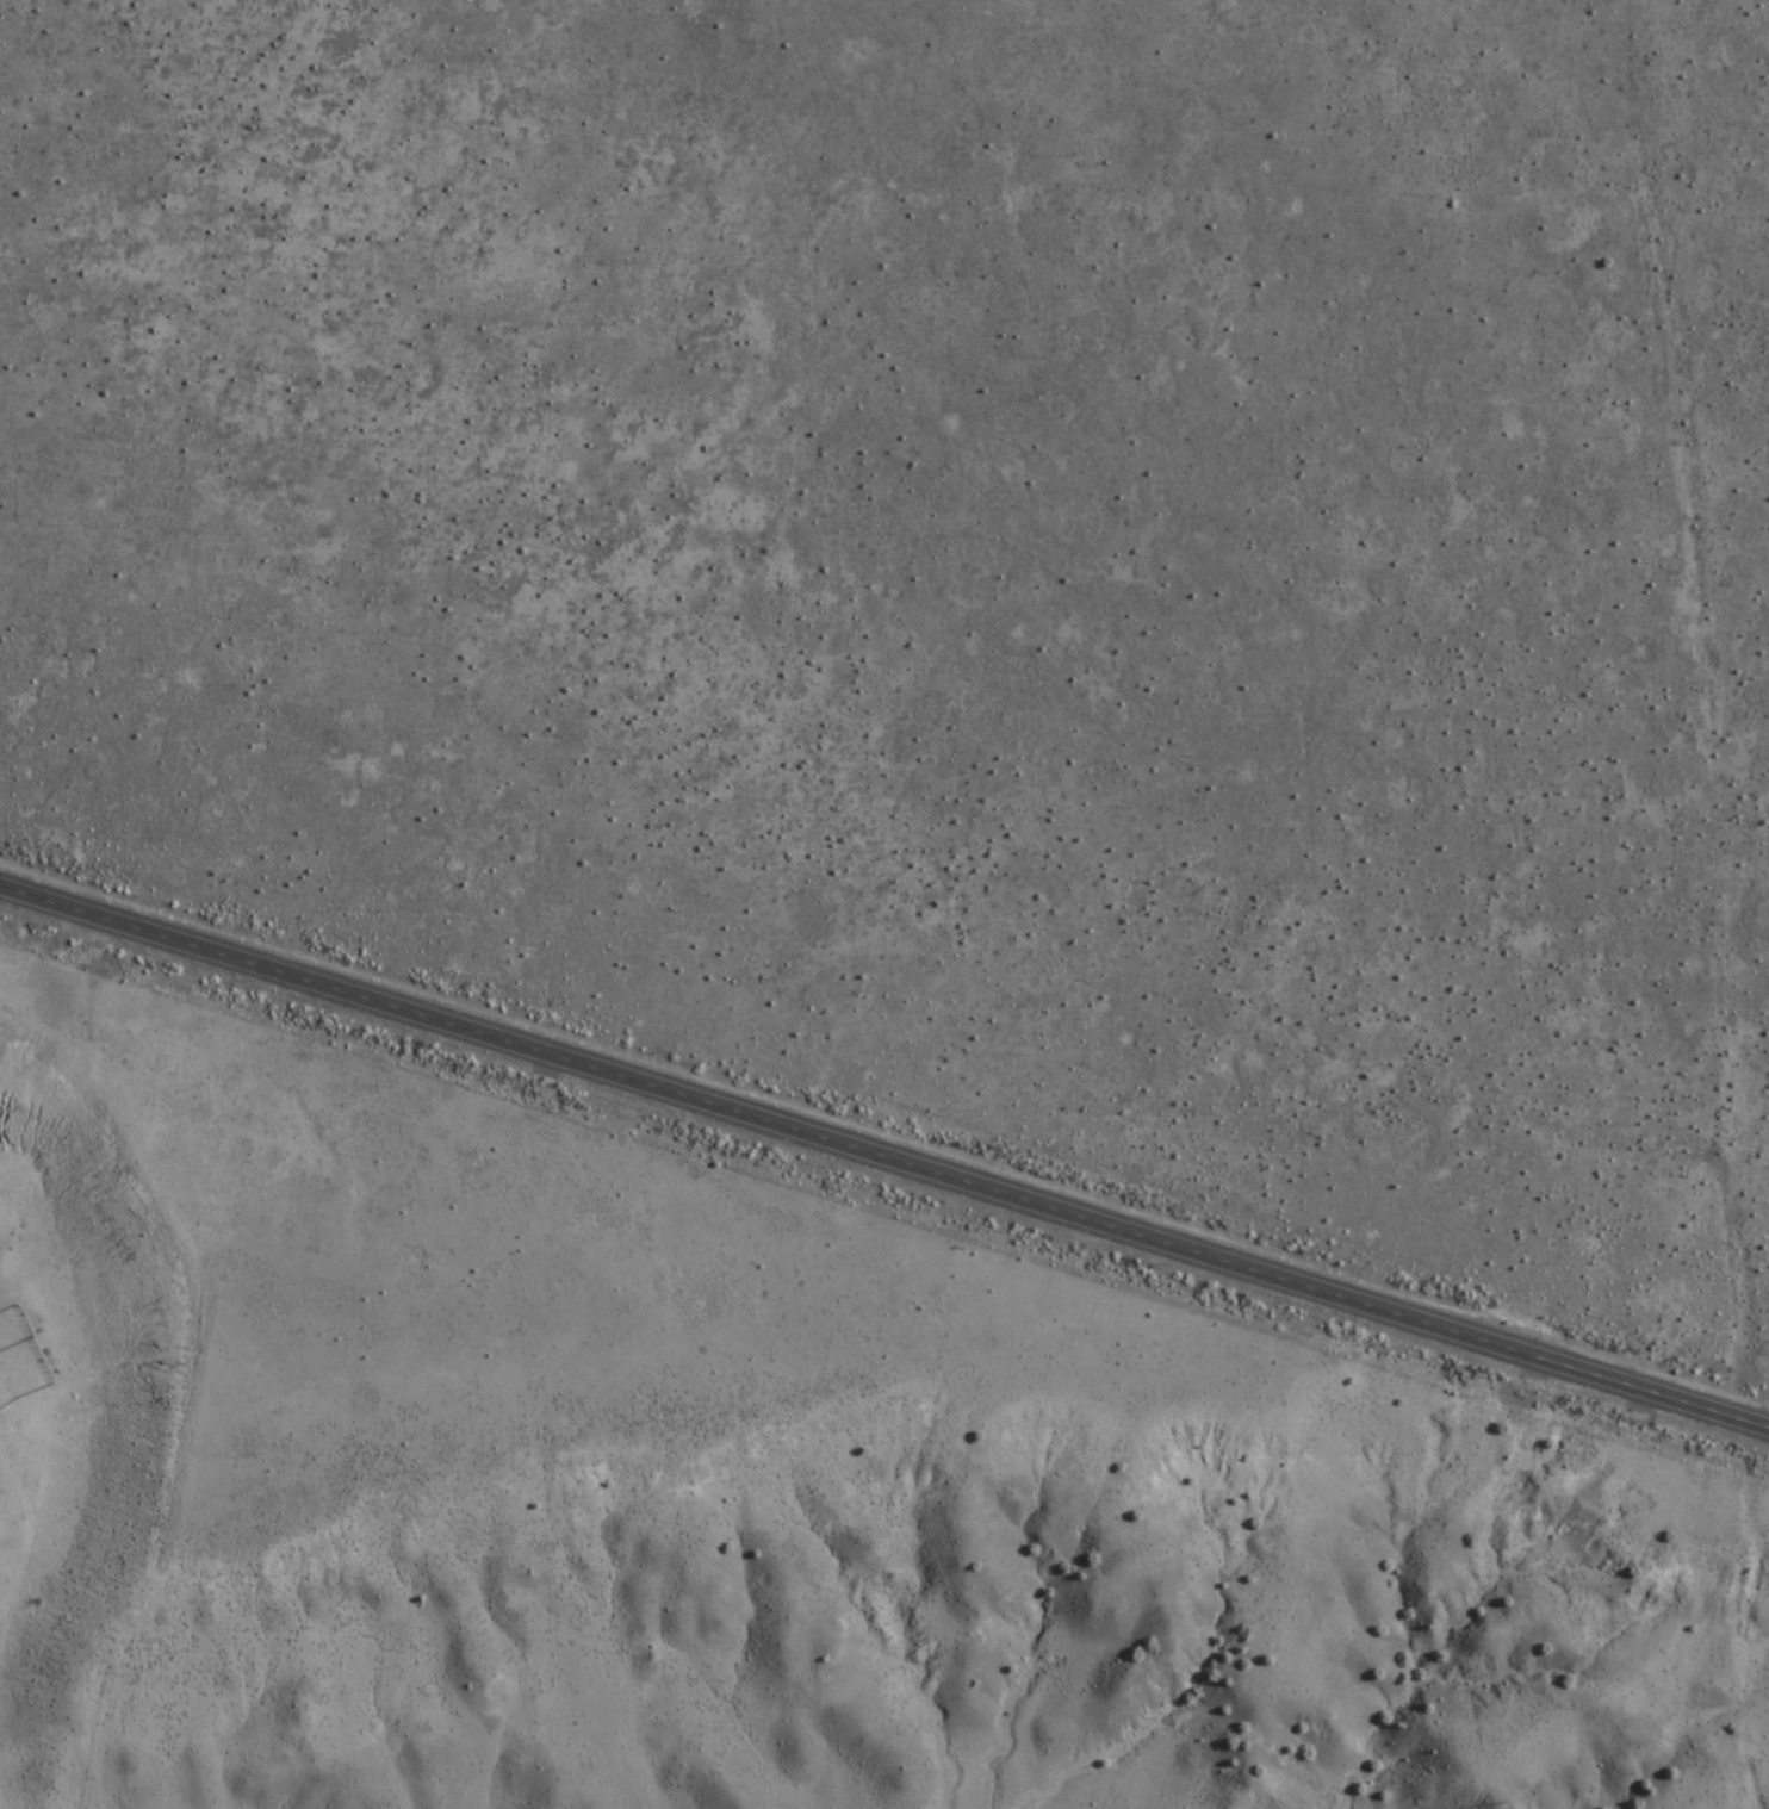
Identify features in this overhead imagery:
road: (884, 1156)

